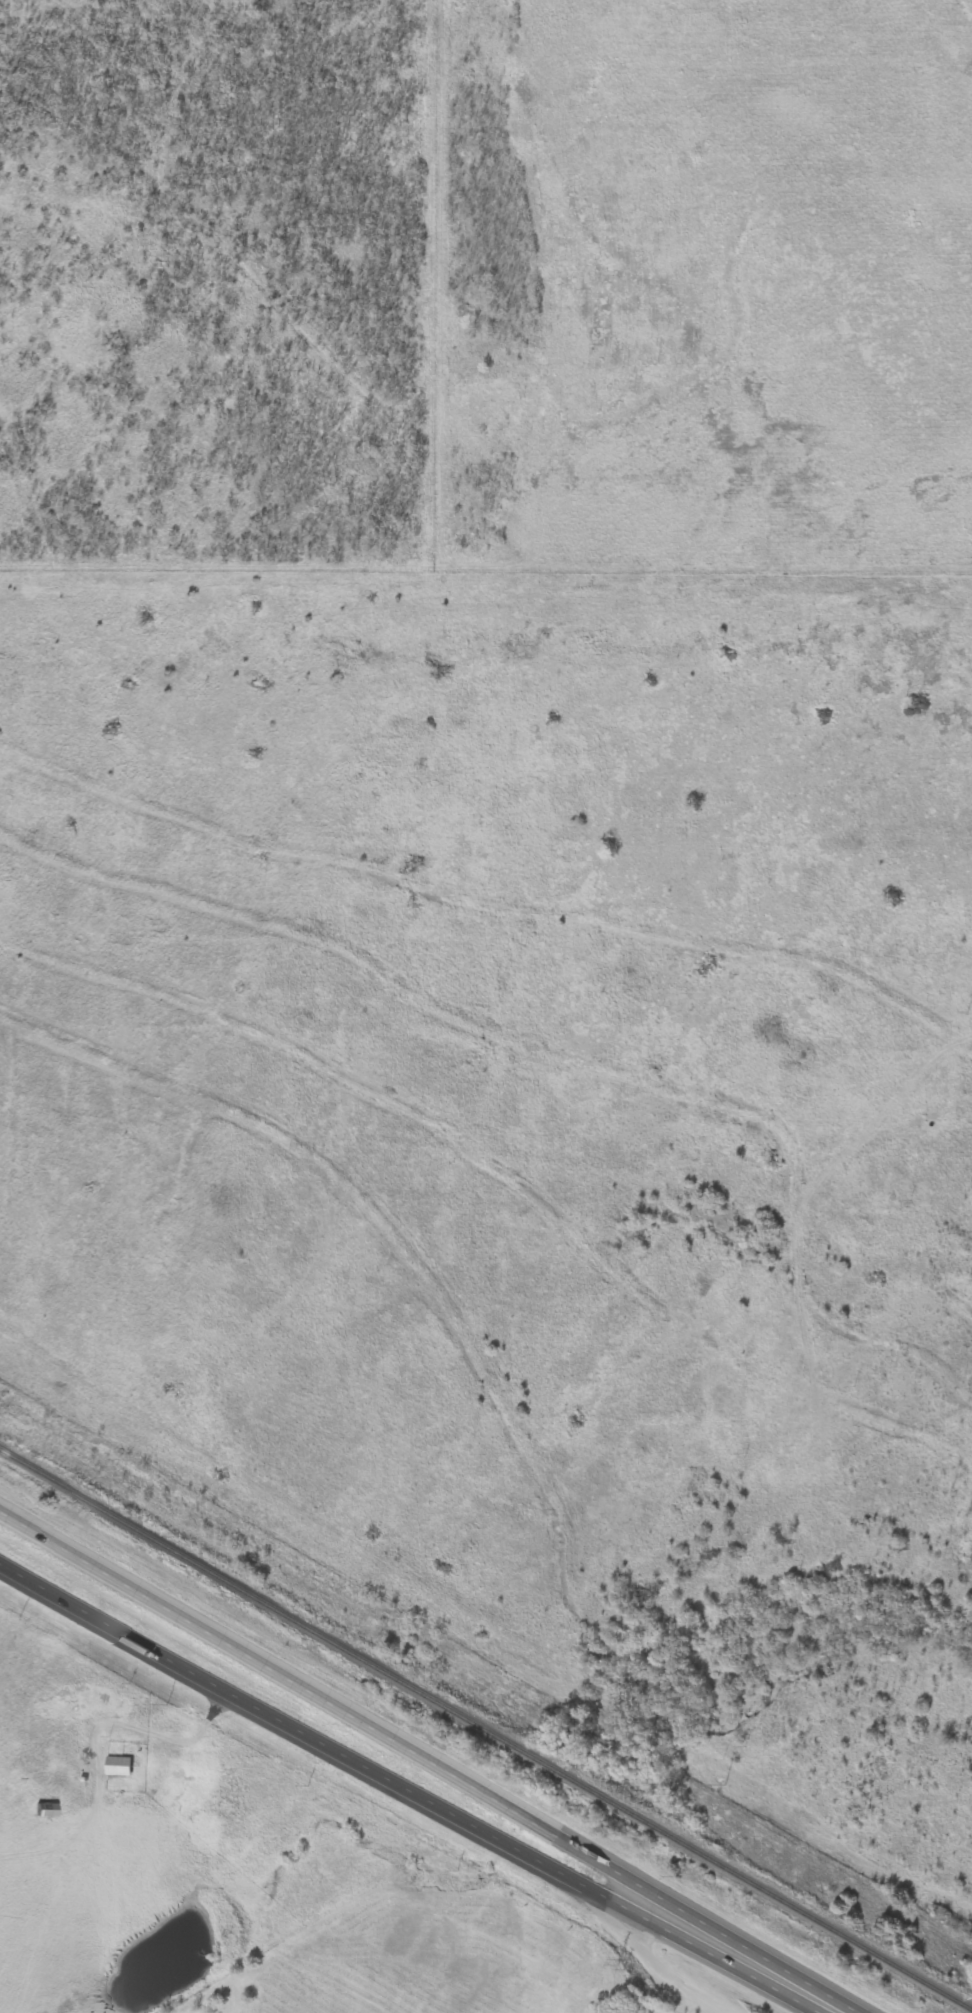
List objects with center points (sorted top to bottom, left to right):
road: (321, 1699)
railway: (485, 1730)
road: (312, 1737)
building: (116, 1767)
building: (42, 1811)
road: (731, 1955)
road: (659, 1967)

